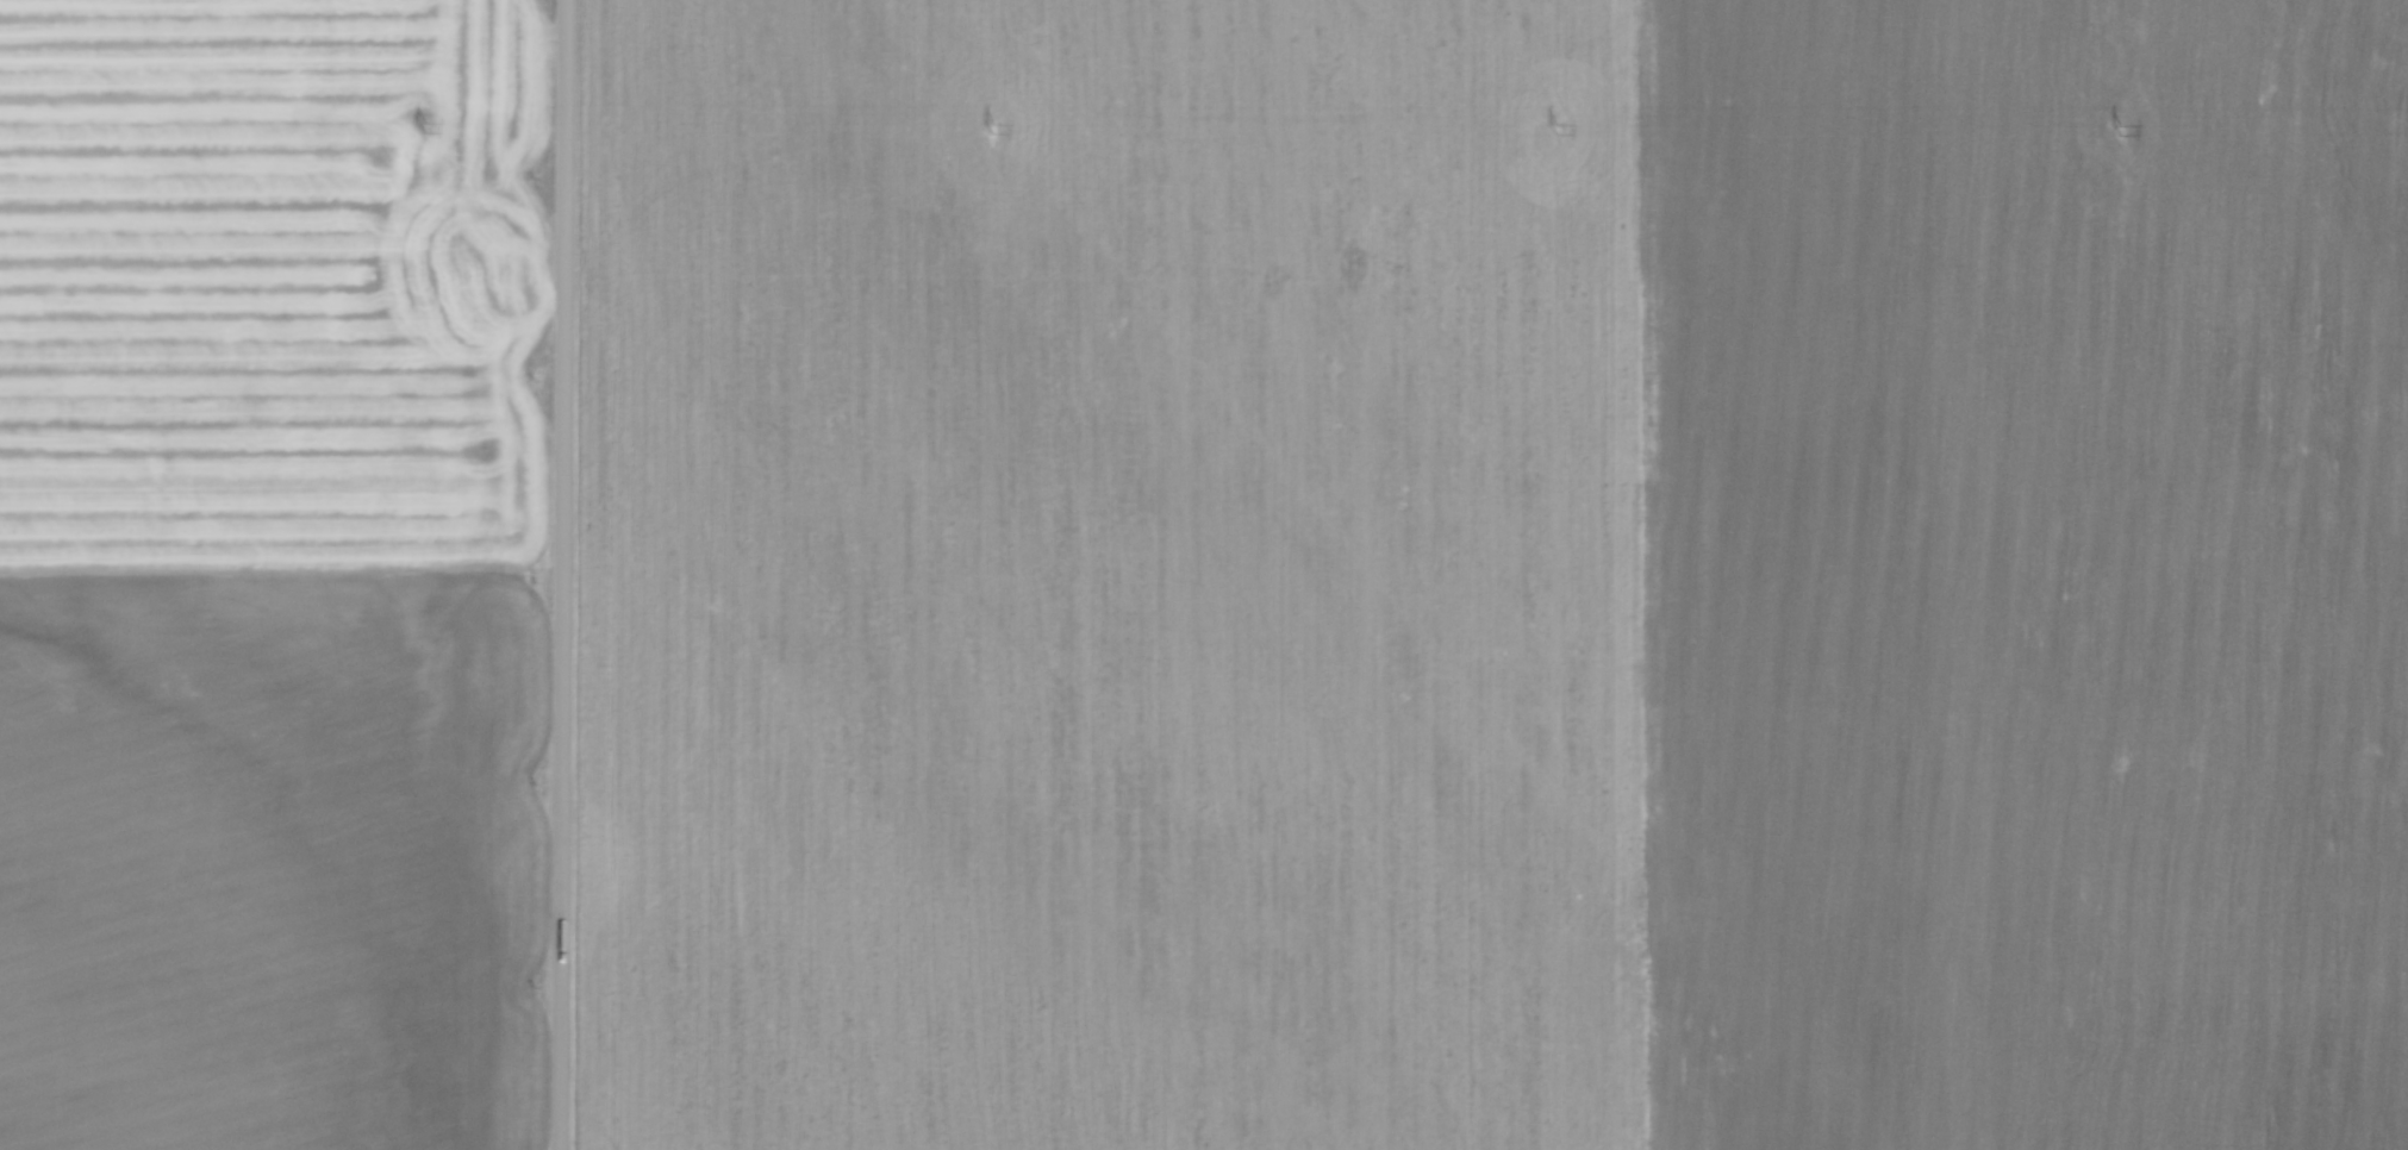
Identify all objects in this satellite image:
power tower: (425, 129)
power tower: (992, 130)
power tower: (1557, 131)
power tower: (2121, 132)
crop: (273, 574)
road: (563, 574)
crop: (1496, 575)

